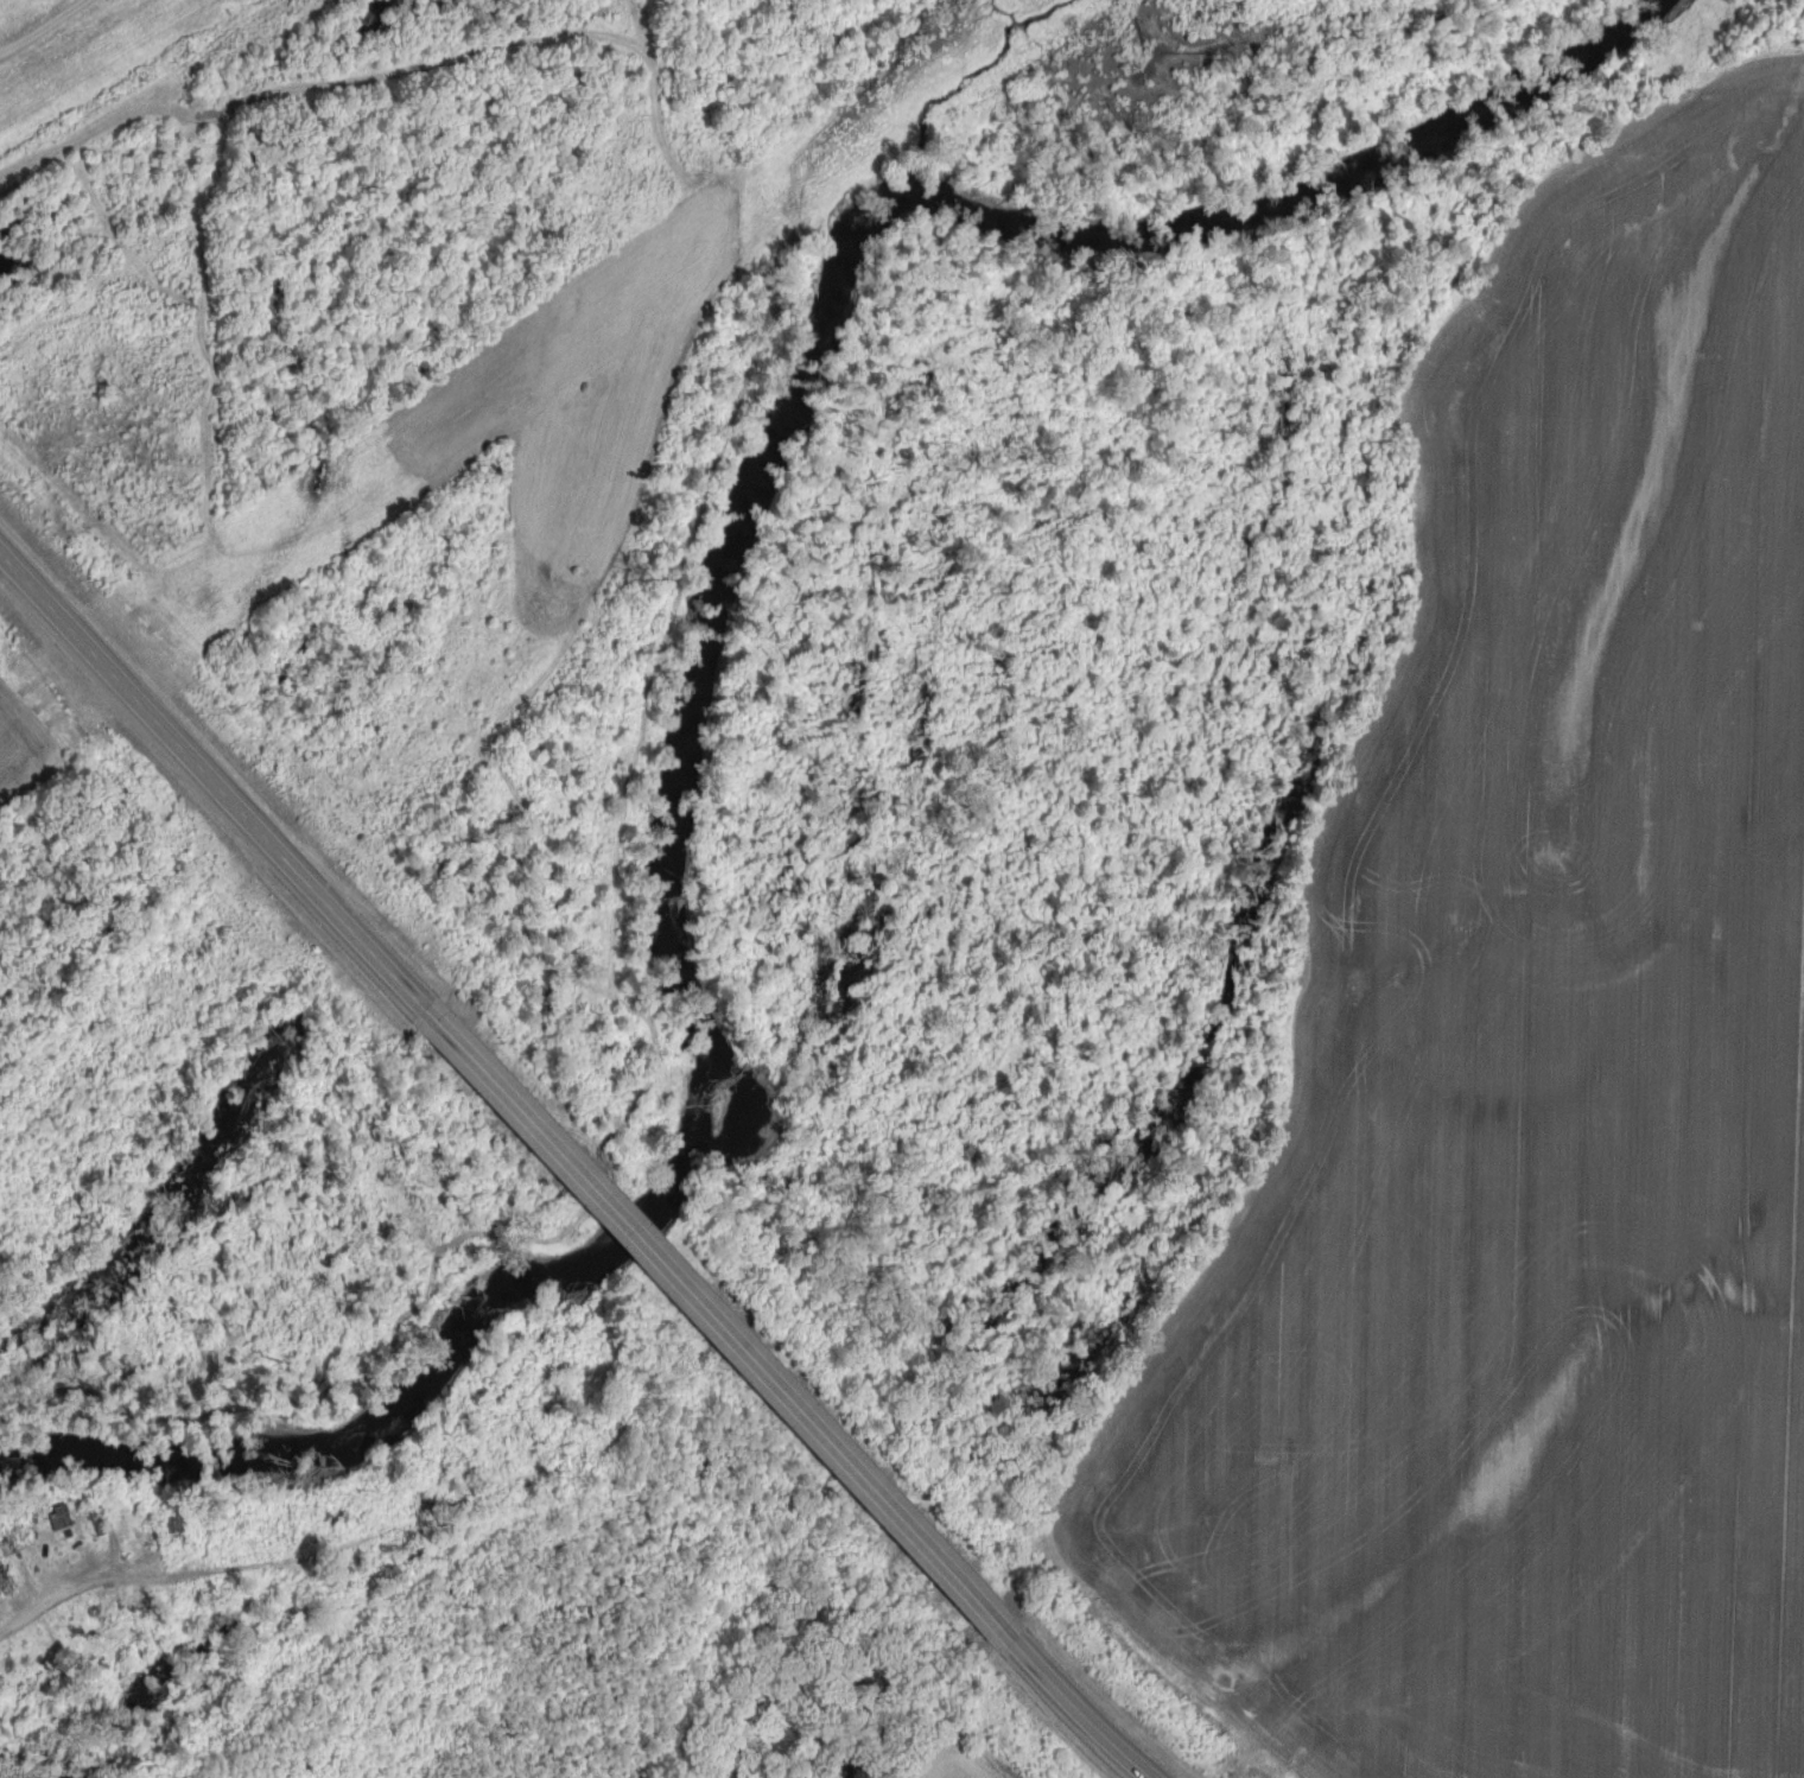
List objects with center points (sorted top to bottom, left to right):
road: (38, 25)
river: (706, 642)
road: (211, 781)
road: (717, 1325)
road: (240, 1562)
building: (5, 1576)
road: (1079, 1710)

